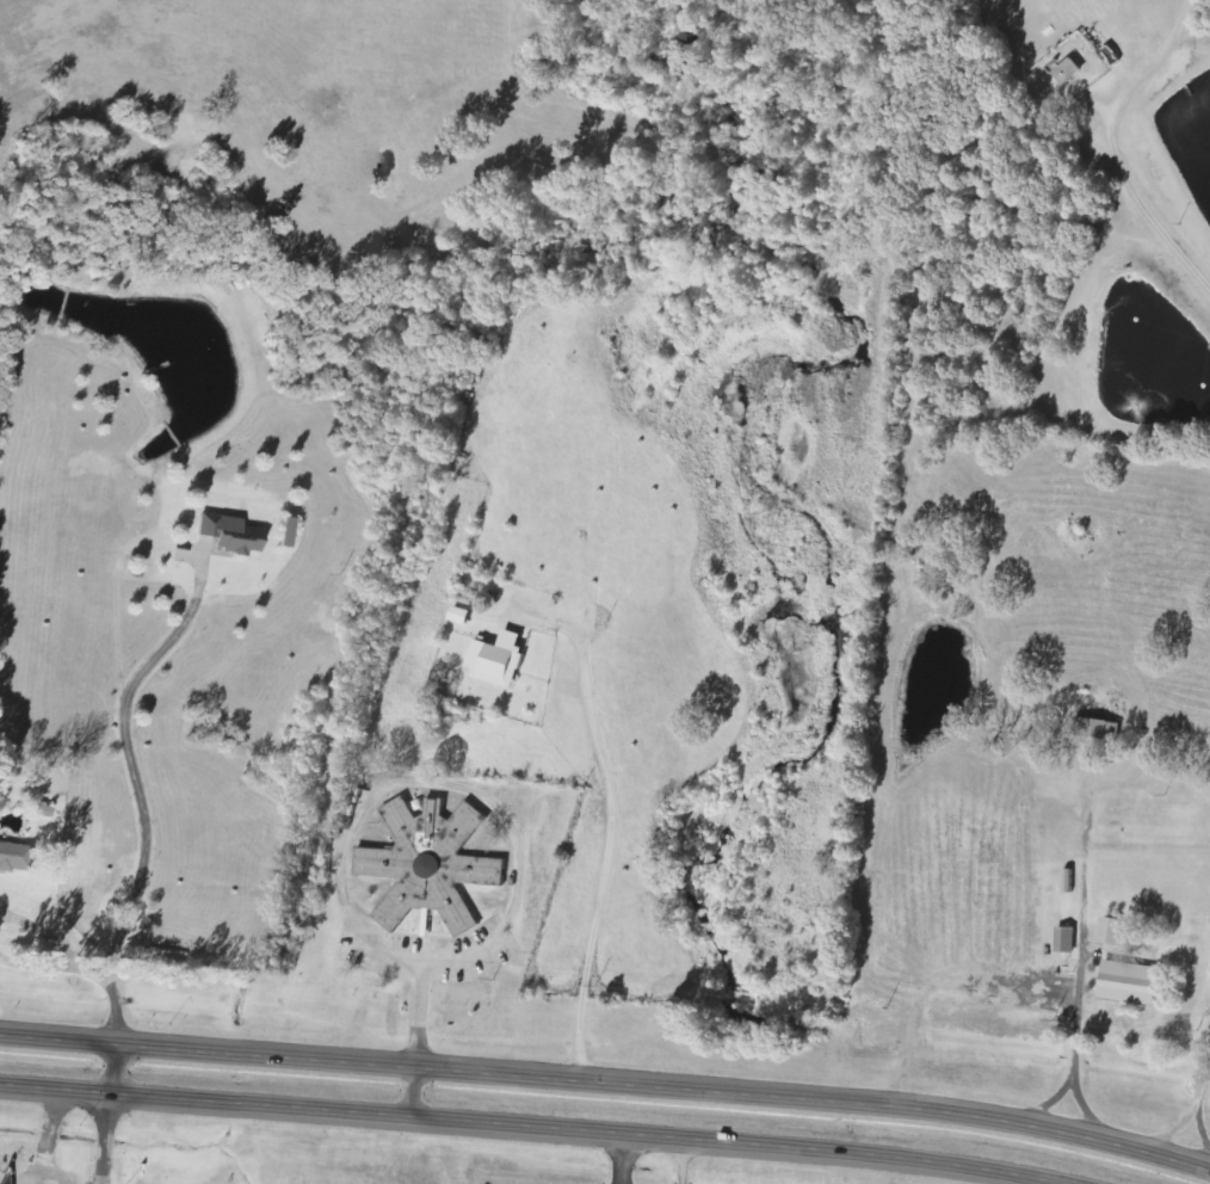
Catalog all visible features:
building: (1067, 73)
road: (1149, 136)
building: (292, 532)
building: (235, 534)
building: (463, 616)
building: (502, 660)
building: (1095, 729)
road: (136, 790)
building: (17, 857)
building: (432, 865)
building: (1110, 932)
building: (1063, 941)
building: (1126, 983)
road: (607, 1083)
road: (1203, 1099)
road: (110, 1116)
road: (514, 1131)

